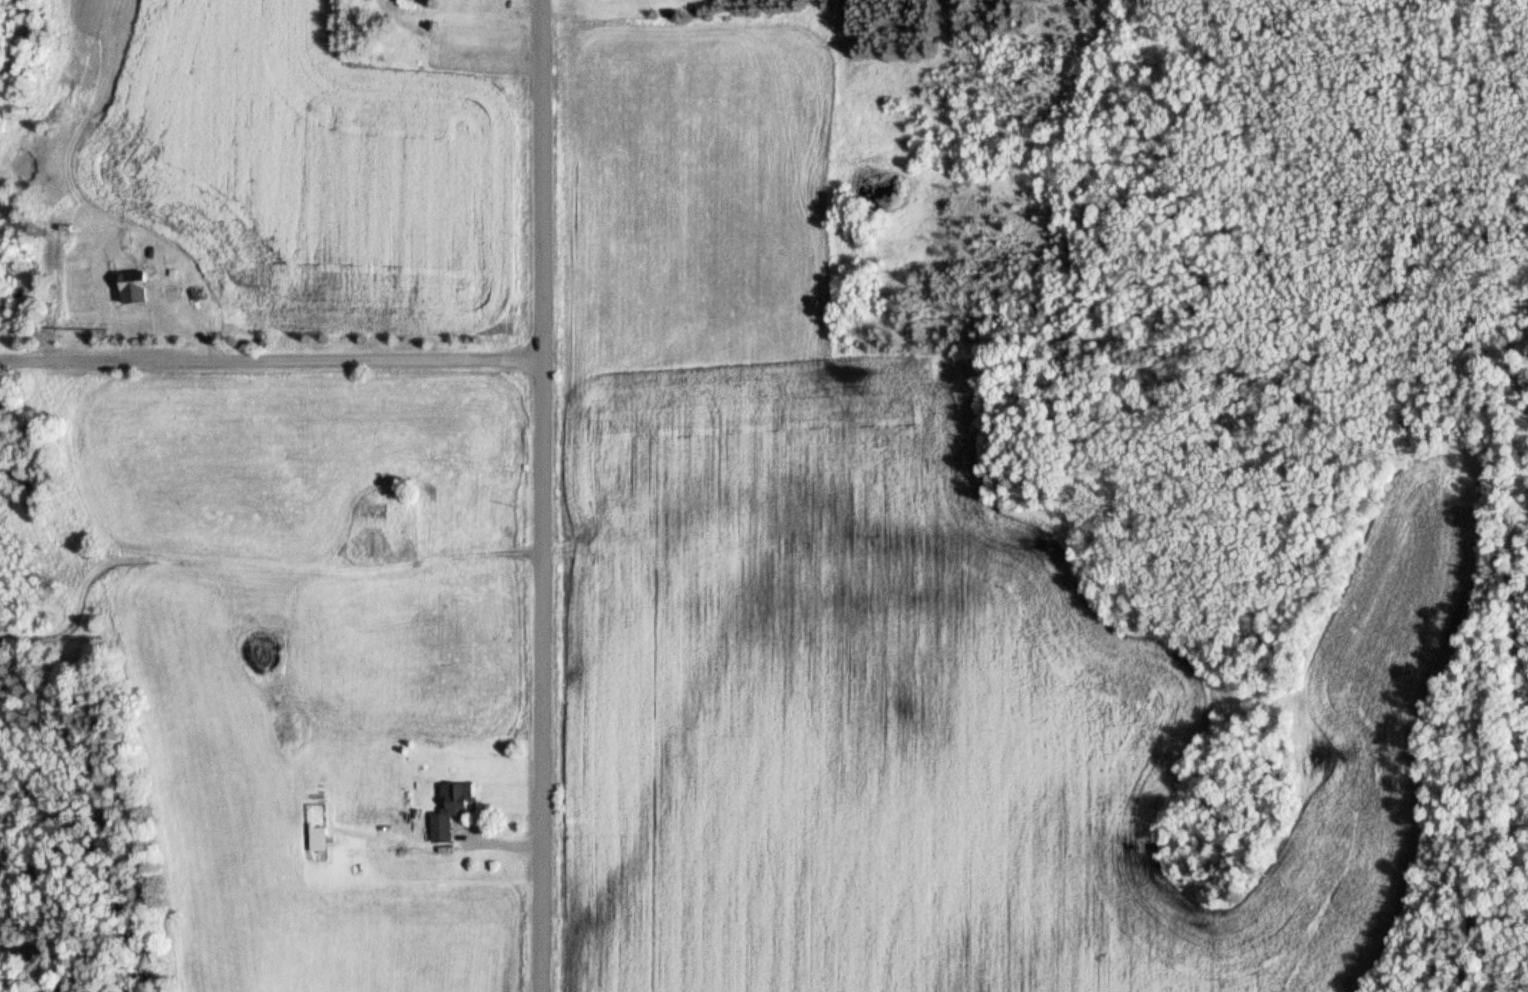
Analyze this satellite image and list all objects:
road: (8, 34)
building: (134, 288)
road: (271, 361)
road: (542, 495)
building: (449, 811)
building: (318, 840)

